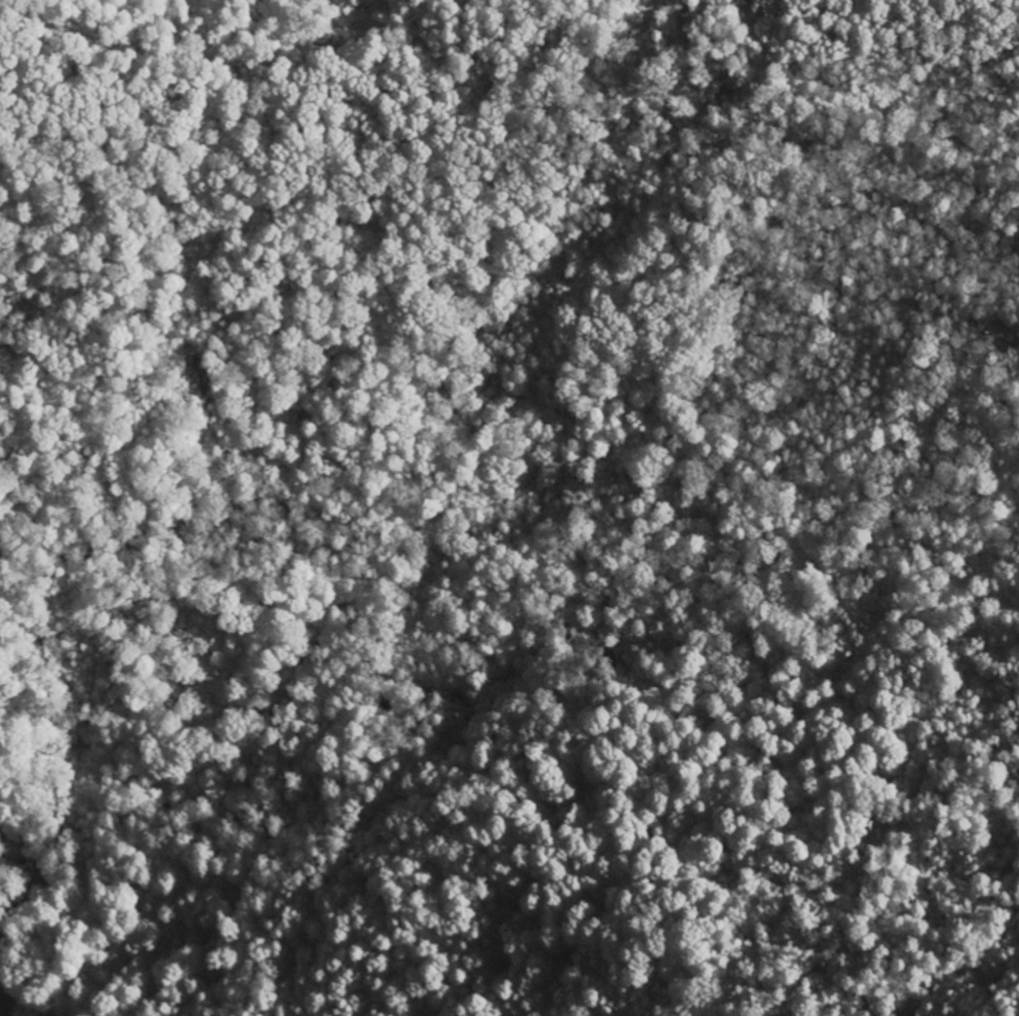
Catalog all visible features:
road: (37, 876)
road: (1, 981)

